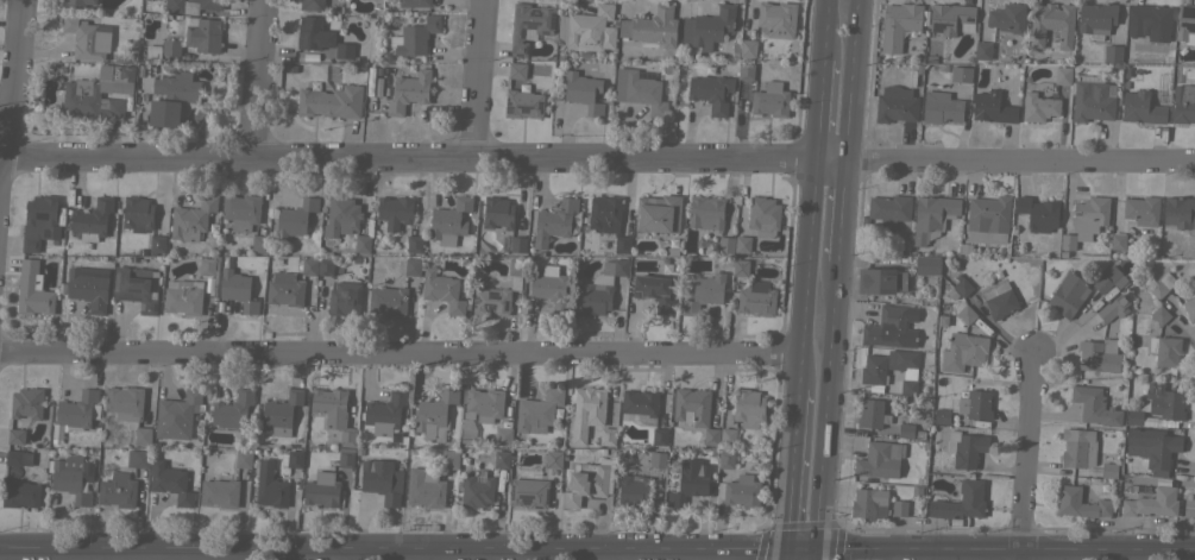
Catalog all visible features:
building: (414, 2)
building: (76, 4)
building: (190, 5)
building: (312, 5)
rooftop solar panel: (534, 13)
rooftop solar panel: (554, 18)
building: (776, 18)
building: (951, 18)
building: (1007, 18)
building: (1096, 19)
building: (1149, 21)
rooftop solar panel: (528, 24)
building: (1051, 24)
building: (1185, 24)
building: (529, 25)
building: (899, 25)
rooftop solar panel: (937, 25)
building: (591, 26)
building: (652, 27)
building: (707, 27)
road: (823, 29)
building: (313, 33)
building: (195, 36)
building: (416, 37)
building: (87, 38)
building: (746, 48)
building: (983, 50)
building: (152, 51)
building: (344, 51)
building: (1113, 56)
building: (516, 70)
building: (746, 71)
building: (961, 74)
building: (1062, 75)
road: (479, 78)
road: (257, 81)
road: (856, 84)
building: (639, 90)
building: (98, 92)
building: (408, 92)
building: (583, 92)
building: (710, 92)
building: (171, 96)
building: (1092, 99)
building: (771, 100)
building: (331, 101)
building: (522, 103)
building: (1183, 103)
building: (895, 105)
building: (1038, 106)
building: (943, 107)
building: (992, 107)
building: (1141, 108)
road: (8, 111)
road: (817, 113)
road: (426, 158)
road: (1021, 166)
building: (1141, 209)
building: (241, 210)
building: (394, 210)
building: (888, 210)
building: (138, 212)
building: (497, 212)
building: (989, 212)
building: (1180, 212)
building: (658, 213)
building: (705, 213)
building: (762, 213)
building: (1038, 213)
road: (843, 214)
building: (341, 215)
building: (932, 215)
building: (295, 218)
building: (449, 218)
building: (92, 219)
building: (191, 219)
building: (606, 219)
building: (1086, 220)
building: (39, 221)
building: (553, 221)
building: (259, 243)
building: (361, 243)
building: (514, 243)
building: (157, 244)
building: (414, 244)
building: (742, 244)
building: (1118, 244)
building: (725, 245)
building: (309, 265)
building: (325, 265)
building: (926, 265)
building: (206, 266)
building: (411, 266)
building: (741, 266)
rooftop solar panel: (137, 278)
road: (803, 278)
building: (1109, 278)
building: (876, 281)
building: (1161, 284)
building: (88, 287)
rooftop solar panel: (134, 287)
building: (137, 287)
building: (602, 287)
building: (962, 287)
building: (237, 289)
building: (285, 289)
building: (549, 289)
building: (32, 290)
building: (441, 290)
building: (498, 291)
building: (654, 291)
building: (704, 292)
building: (1068, 295)
building: (183, 296)
rooftop solar panel: (127, 297)
building: (344, 297)
building: (754, 298)
building: (388, 300)
building: (999, 300)
building: (1113, 308)
building: (1189, 308)
building: (967, 314)
building: (1159, 314)
building: (891, 327)
building: (1164, 350)
building: (963, 351)
road: (398, 353)
building: (1099, 354)
building: (900, 359)
building: (873, 369)
building: (907, 375)
building: (908, 386)
building: (26, 402)
building: (640, 402)
building: (484, 403)
road: (828, 403)
building: (1158, 403)
building: (974, 404)
building: (1094, 405)
building: (691, 407)
building: (749, 407)
building: (128, 409)
building: (232, 409)
building: (76, 410)
building: (537, 411)
building: (586, 411)
building: (281, 413)
building: (333, 413)
building: (385, 413)
building: (435, 414)
building: (872, 414)
building: (177, 415)
building: (942, 415)
building: (905, 430)
building: (606, 435)
building: (659, 435)
building: (15, 436)
building: (503, 436)
building: (711, 436)
building: (728, 436)
building: (966, 447)
building: (1077, 447)
building: (1152, 447)
rooftop solar panel: (1090, 455)
road: (1027, 457)
building: (18, 458)
building: (138, 458)
building: (295, 458)
building: (243, 459)
building: (449, 459)
building: (502, 459)
building: (554, 459)
building: (658, 459)
building: (725, 459)
building: (880, 459)
road: (788, 466)
building: (1109, 470)
building: (71, 477)
building: (382, 480)
building: (690, 480)
building: (327, 482)
building: (589, 482)
building: (170, 483)
building: (270, 484)
building: (424, 487)
building: (118, 490)
building: (633, 490)
building: (477, 491)
building: (742, 491)
building: (219, 492)
building: (529, 492)
building: (916, 492)
building: (20, 493)
building: (868, 502)
building: (961, 502)
building: (1080, 503)
building: (1152, 503)
building: (899, 508)
traffic signals: (784, 546)
road: (799, 546)
traffic signals: (815, 546)
road: (391, 547)
road: (1004, 549)
road: (419, 553)
road: (609, 553)
road: (782, 553)
road: (813, 553)
road: (216, 554)

